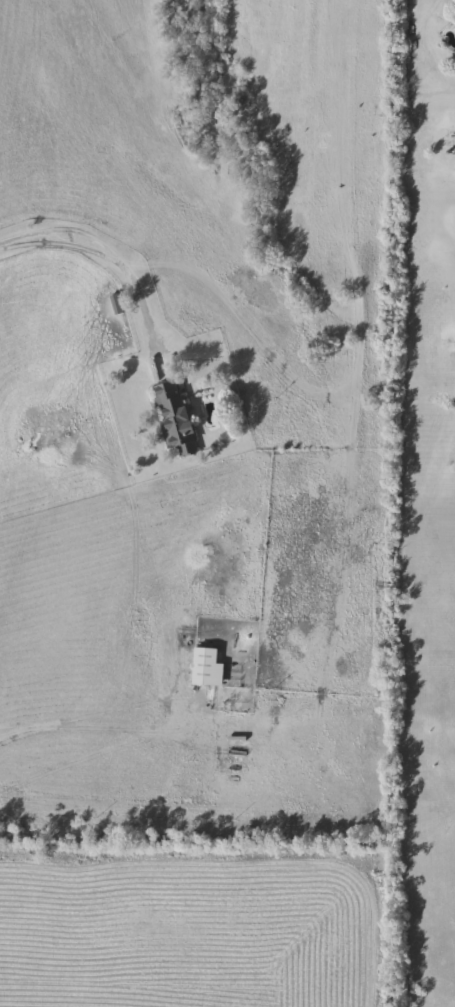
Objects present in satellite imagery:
road: (97, 251)
building: (175, 420)
building: (206, 668)

